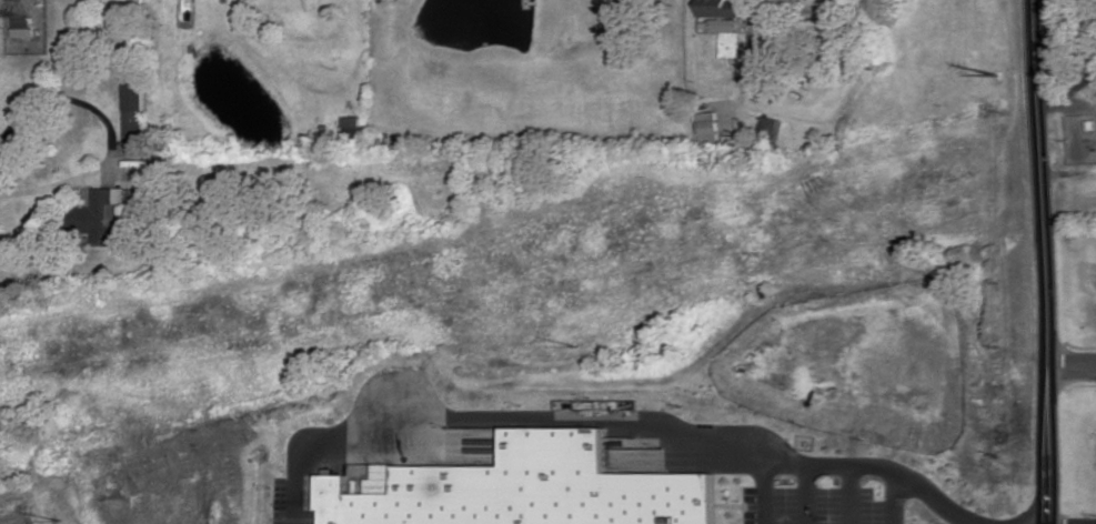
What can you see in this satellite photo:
building: (720, 8)
building: (724, 24)
power tower: (1001, 75)
road: (1069, 84)
building: (131, 112)
building: (707, 125)
building: (771, 125)
building: (351, 127)
road: (110, 131)
building: (100, 213)
road: (1044, 261)
power tower: (586, 343)
road: (1070, 371)
road: (511, 420)
building: (625, 456)
road: (869, 472)
building: (536, 488)
road: (764, 497)
road: (808, 497)
road: (847, 497)
road: (891, 498)
parking lot: (282, 503)
parking lot: (823, 506)
power tower: (62, 516)

